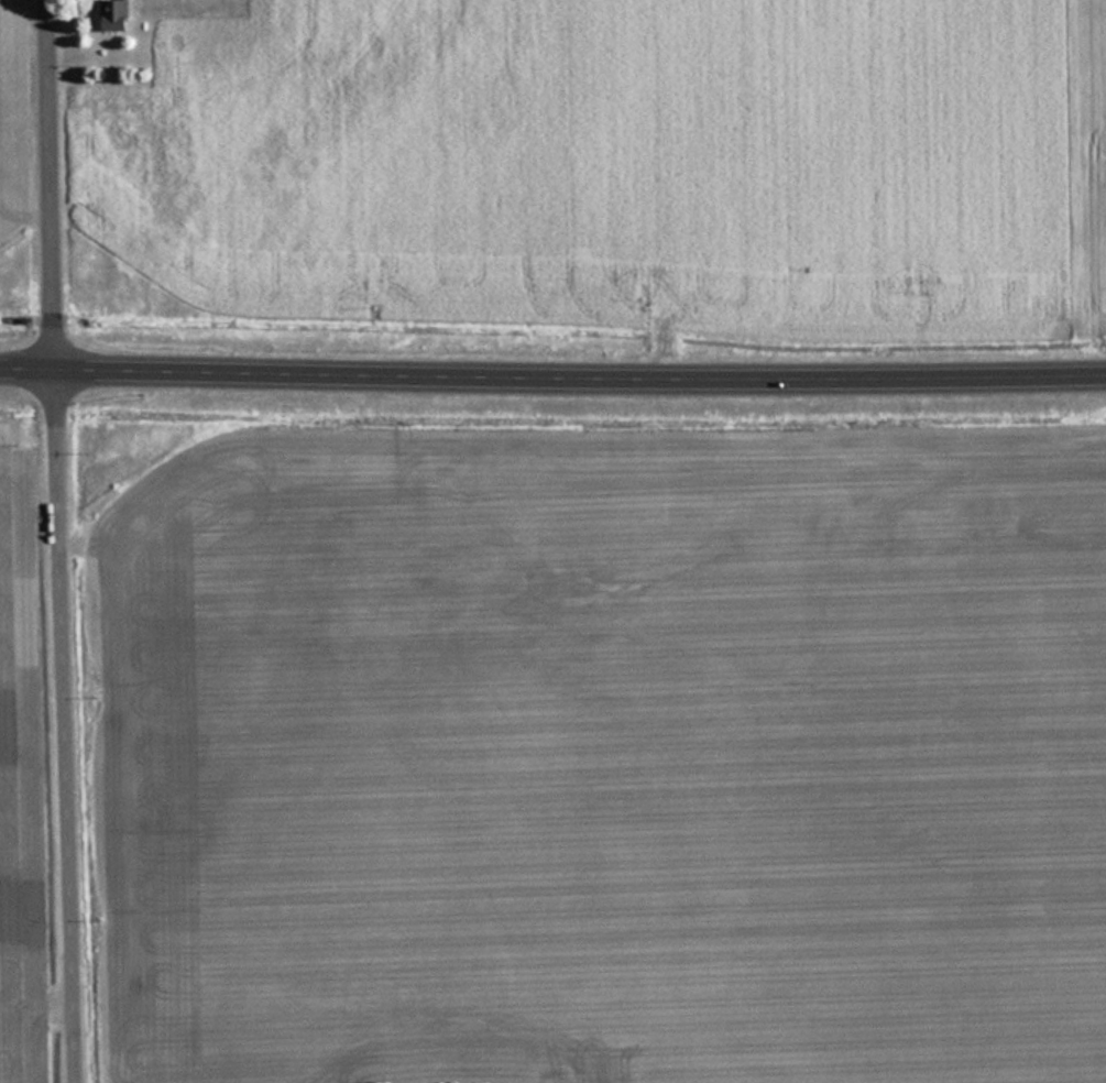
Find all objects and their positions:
building: (117, 15)
road: (552, 376)
road: (58, 541)

